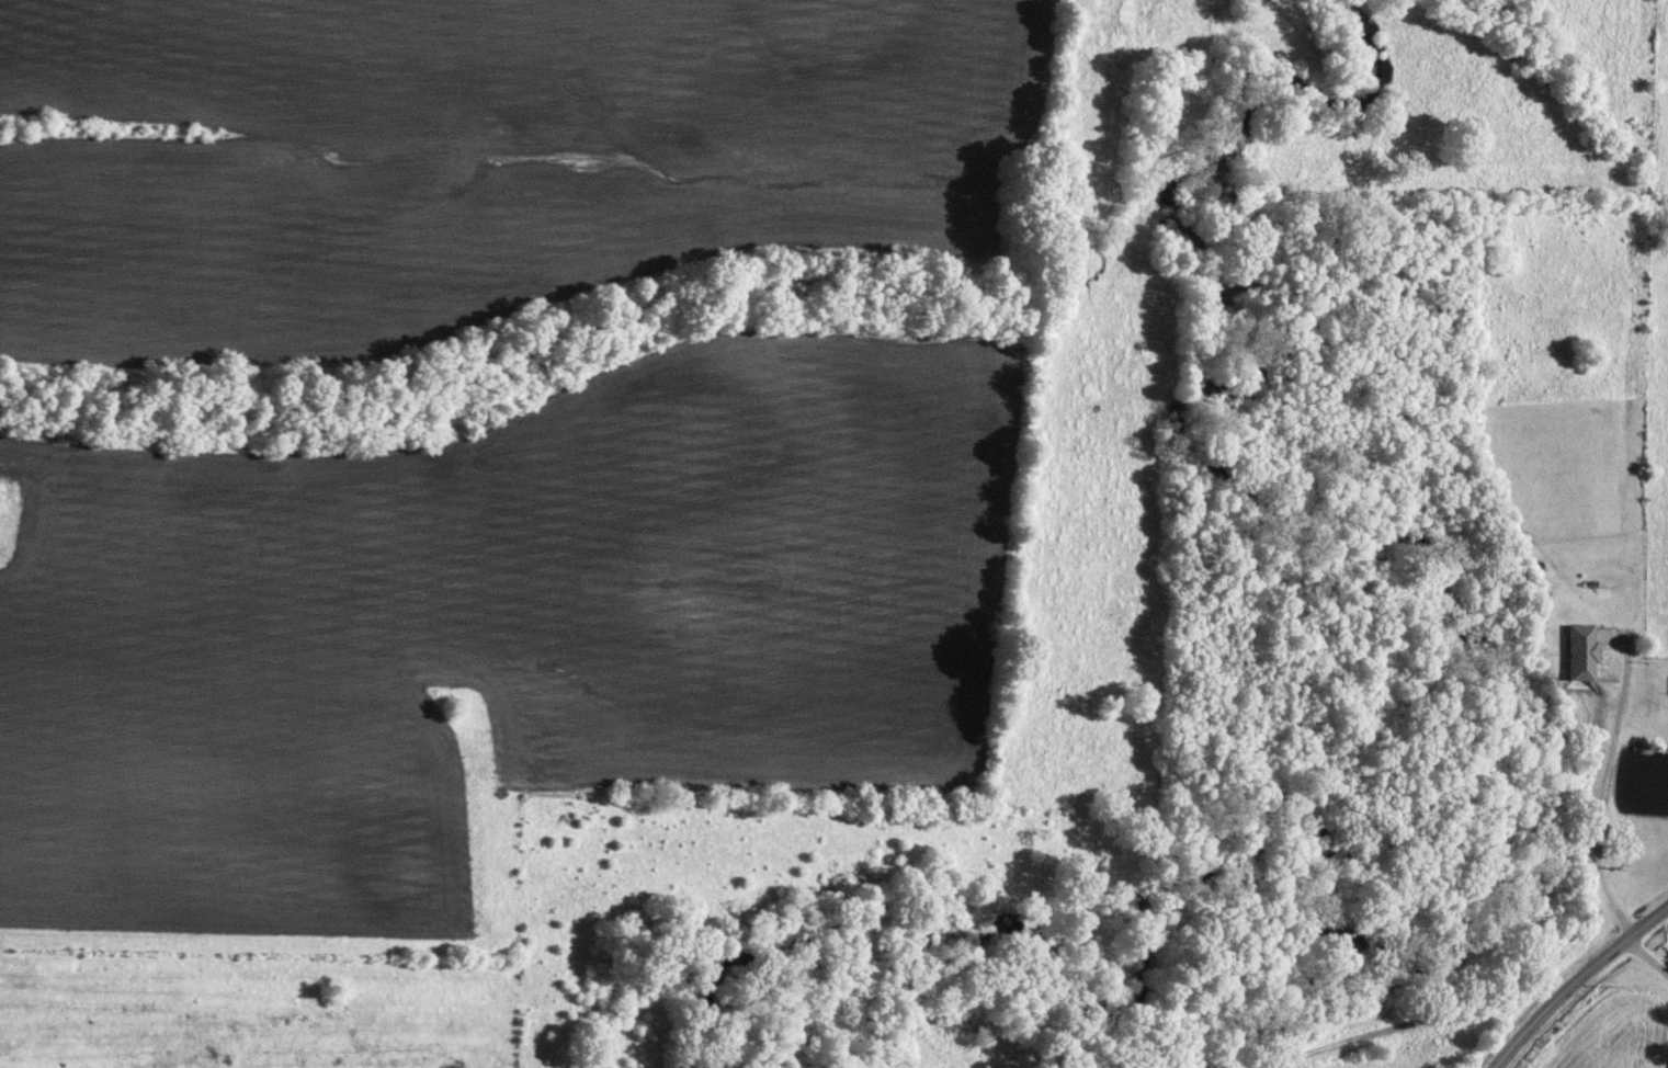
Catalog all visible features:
building: (1573, 652)
road: (1597, 792)
road: (1647, 956)
road: (1573, 981)

